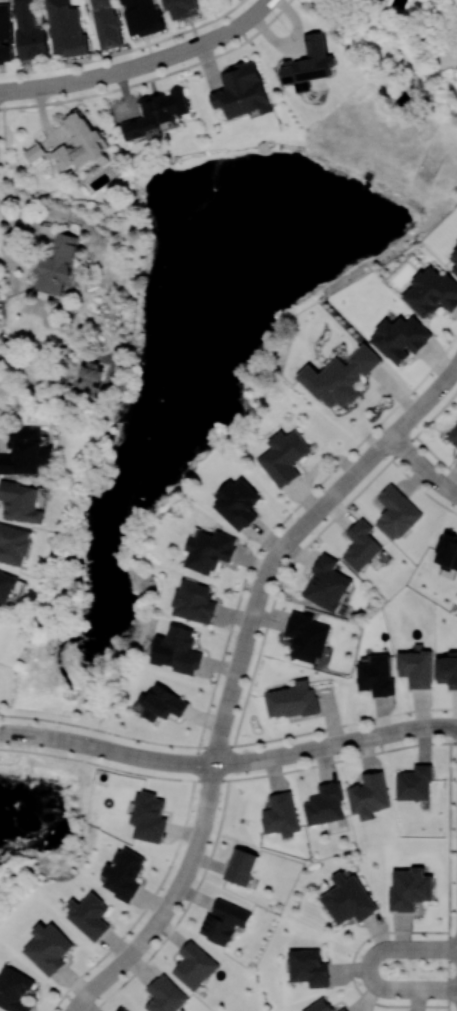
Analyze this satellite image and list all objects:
building: (381, 0)
building: (182, 8)
road: (253, 13)
building: (142, 17)
building: (107, 23)
building: (67, 28)
building: (29, 31)
building: (5, 33)
road: (128, 52)
road: (163, 57)
building: (309, 63)
road: (42, 86)
building: (242, 90)
building: (156, 113)
building: (82, 143)
dam: (337, 143)
building: (35, 152)
park: (273, 234)
road: (29, 238)
building: (454, 261)
building: (58, 264)
building: (432, 292)
building: (401, 338)
road: (454, 366)
building: (92, 372)
building: (340, 377)
road: (440, 385)
road: (410, 418)
building: (453, 436)
building: (25, 452)
building: (285, 457)
road: (423, 466)
road: (348, 481)
building: (21, 502)
building: (238, 503)
building: (396, 512)
building: (14, 544)
building: (361, 545)
building: (209, 550)
building: (447, 552)
building: (326, 584)
building: (6, 588)
building: (194, 601)
park: (90, 621)
building: (306, 636)
road: (247, 639)
building: (178, 650)
building: (416, 668)
building: (448, 670)
building: (376, 676)
building: (292, 700)
building: (163, 704)
road: (3, 732)
road: (228, 745)
road: (232, 762)
road: (228, 779)
building: (415, 783)
building: (369, 795)
building: (325, 804)
building: (281, 814)
building: (149, 817)
building: (241, 866)
building: (123, 873)
road: (448, 876)
building: (409, 888)
building: (348, 899)
road: (171, 901)
building: (89, 915)
building: (224, 921)
building: (48, 947)
building: (194, 965)
building: (309, 967)
road: (352, 968)
road: (368, 968)
building: (15, 990)
building: (165, 995)
building: (320, 1006)
building: (121, 1009)
building: (343, 1009)

